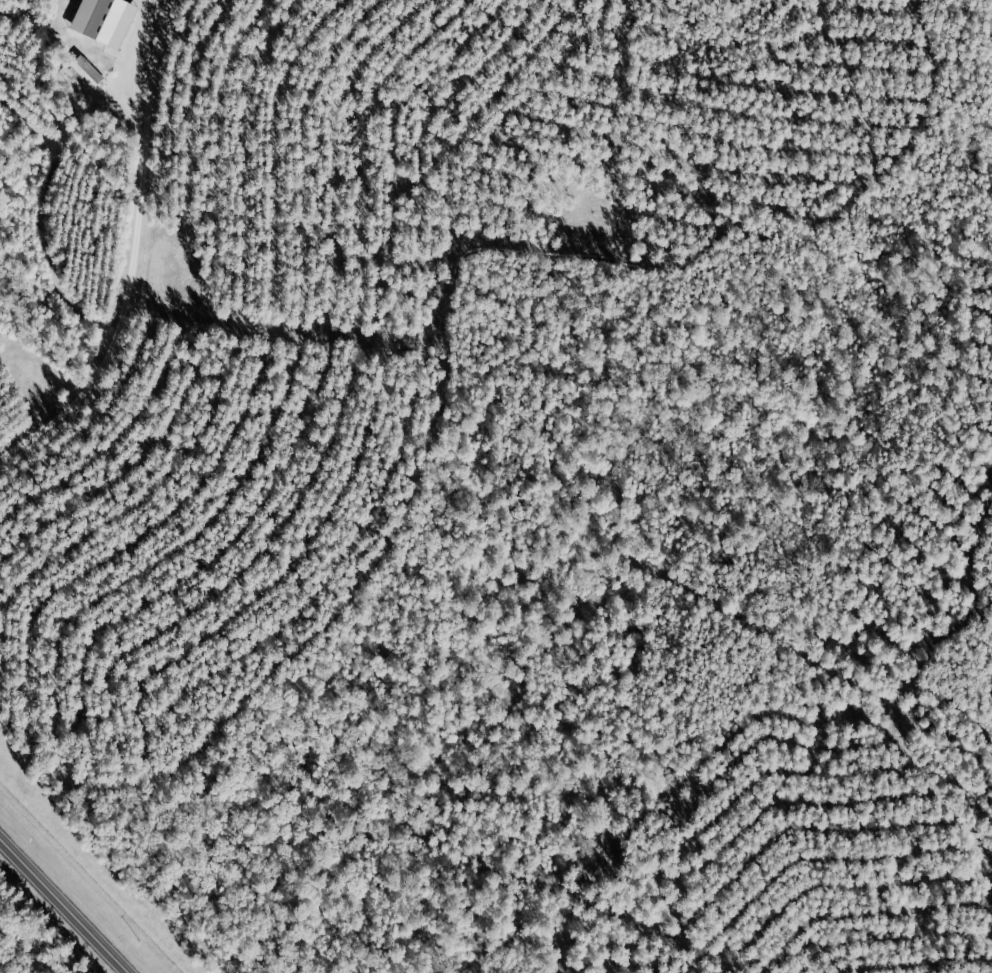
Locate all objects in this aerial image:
building: (103, 20)
building: (86, 71)
road: (135, 254)
road: (64, 905)

